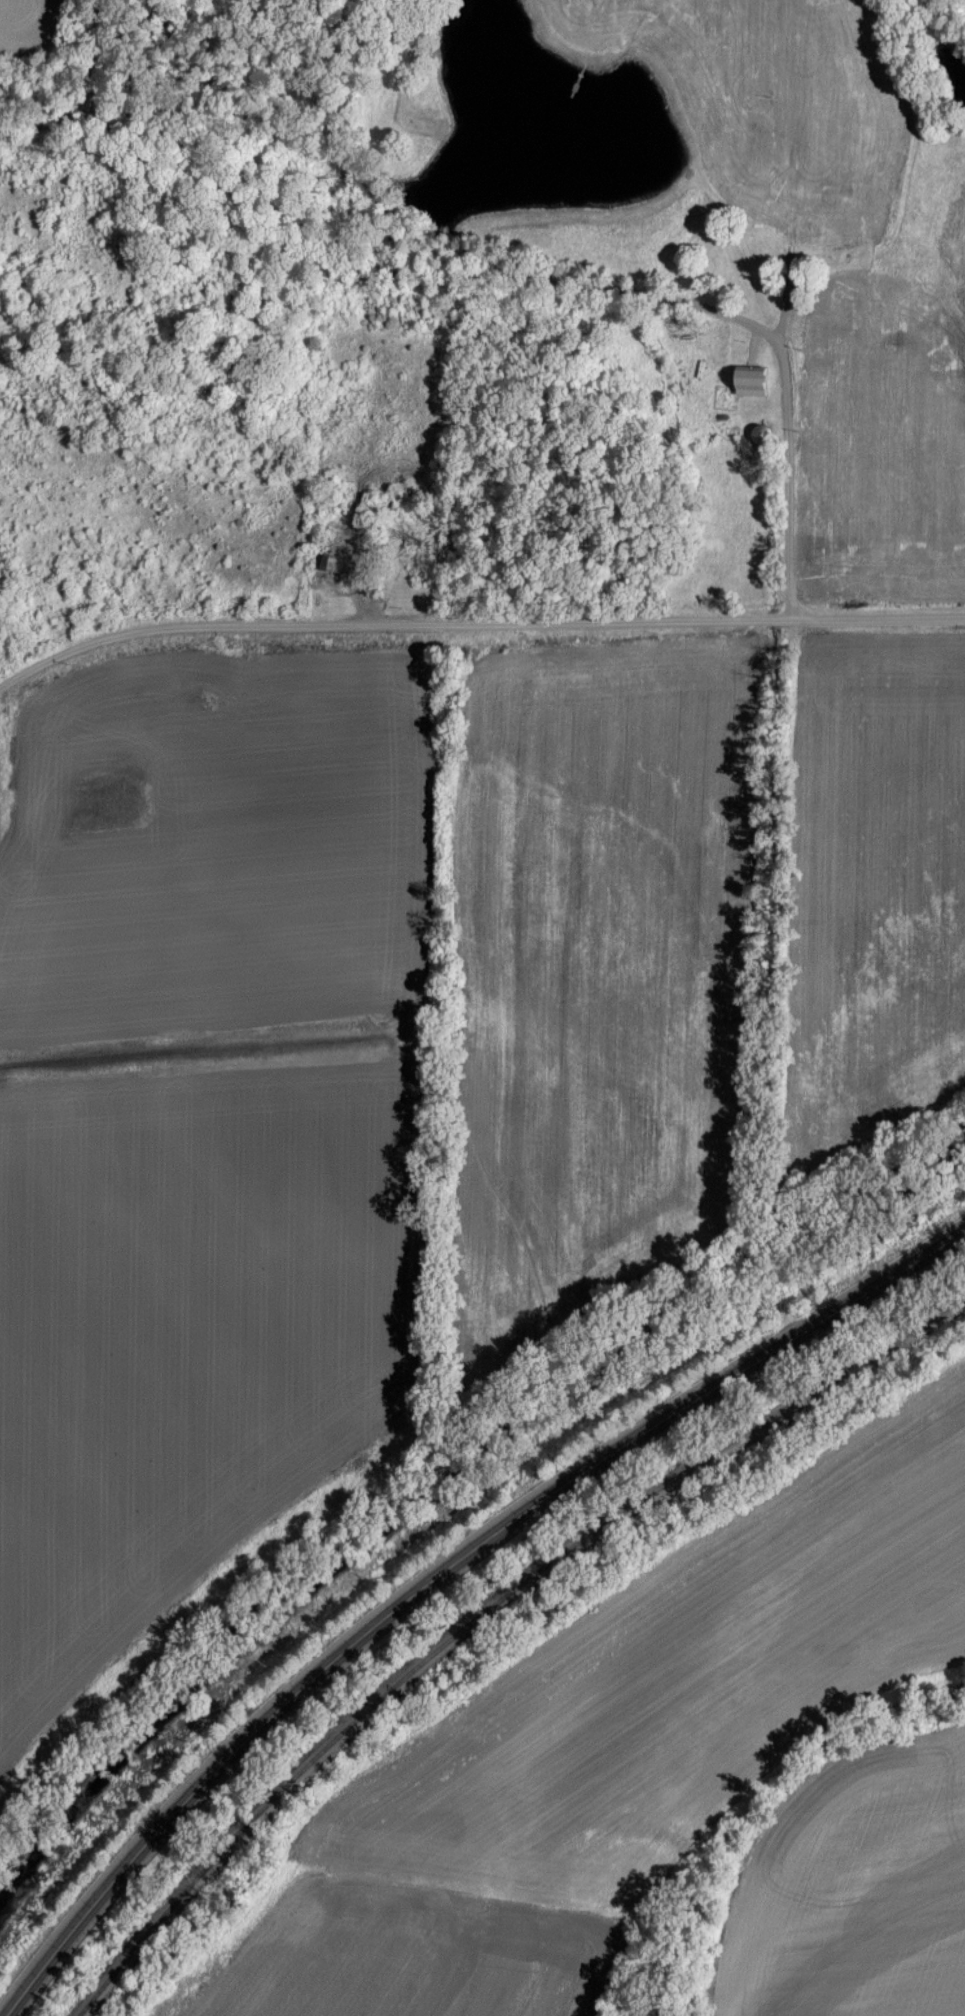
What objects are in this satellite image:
road: (85, 104)
road: (553, 281)
building: (746, 379)
building: (329, 563)
road: (474, 615)
road: (437, 1567)
railway: (487, 1613)

